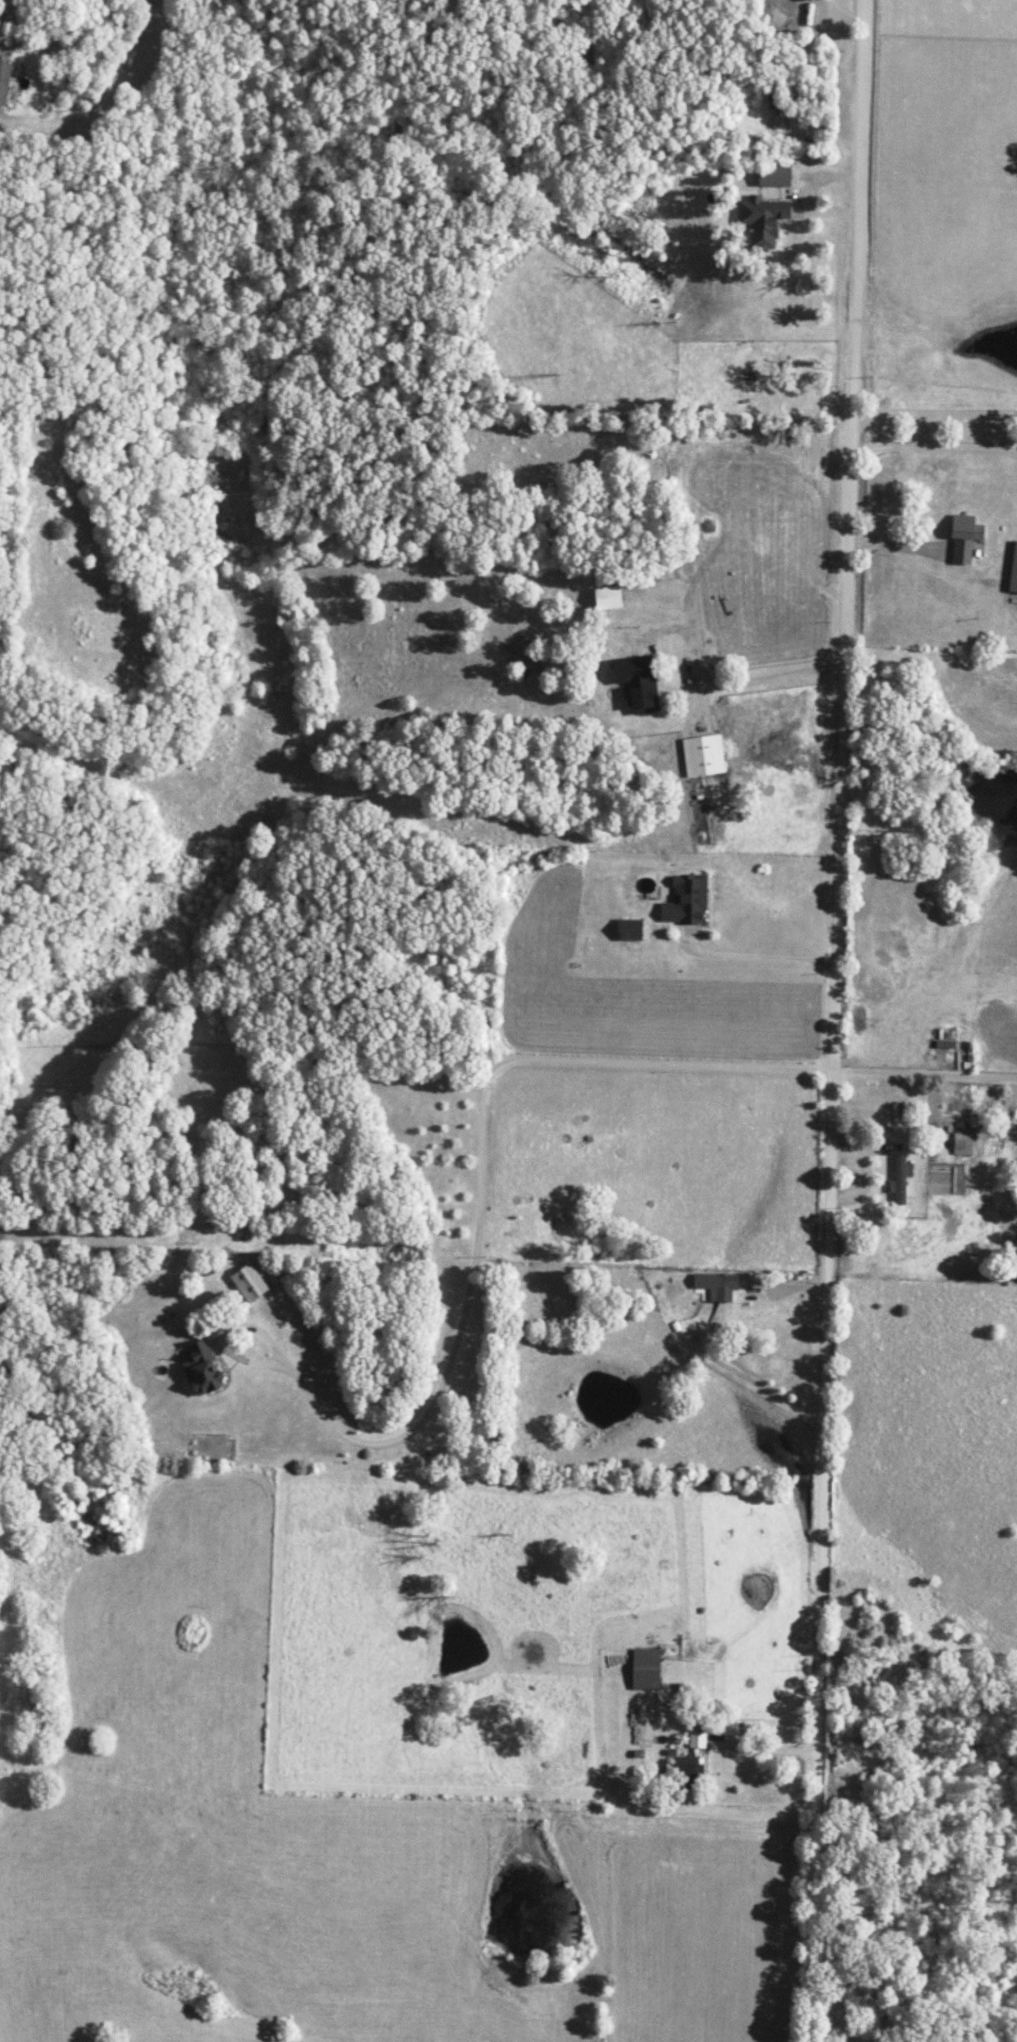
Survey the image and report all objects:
building: (810, 8)
building: (4, 82)
road: (111, 102)
building: (773, 176)
building: (761, 220)
building: (963, 537)
building: (1013, 569)
building: (607, 598)
road: (775, 676)
building: (637, 682)
building: (702, 755)
building: (685, 900)
building: (628, 929)
road: (769, 956)
road: (832, 1020)
road: (924, 1074)
building: (961, 1143)
building: (899, 1179)
road: (473, 1248)
building: (248, 1283)
building: (716, 1285)
building: (201, 1369)
road: (667, 1550)
building: (645, 1669)
building: (696, 1740)
building: (686, 1768)

